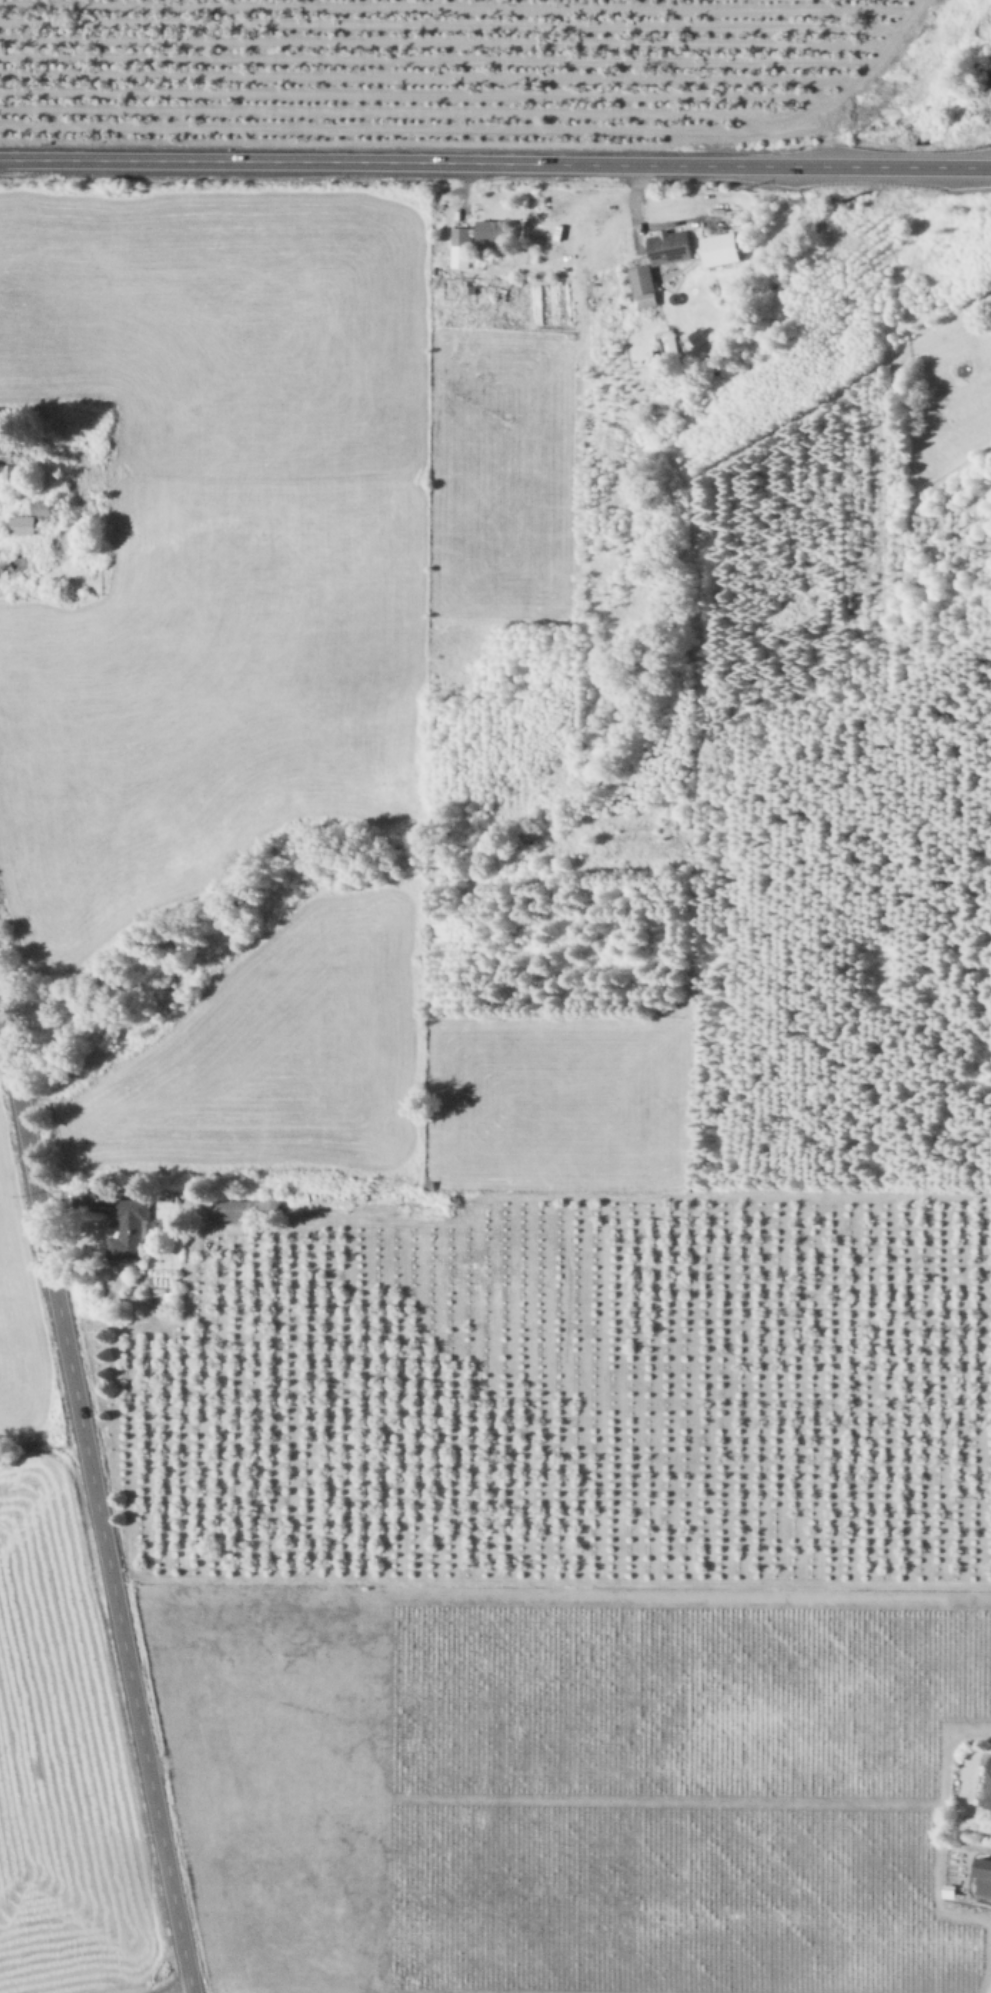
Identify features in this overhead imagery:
road: (495, 163)
building: (493, 229)
building: (670, 245)
building: (462, 246)
building: (721, 248)
building: (644, 285)
building: (5, 447)
building: (10, 470)
building: (42, 506)
building: (22, 523)
building: (127, 1229)
road: (96, 1497)
crop: (58, 1695)
crop: (580, 1783)
building: (985, 1874)
road: (188, 1992)

